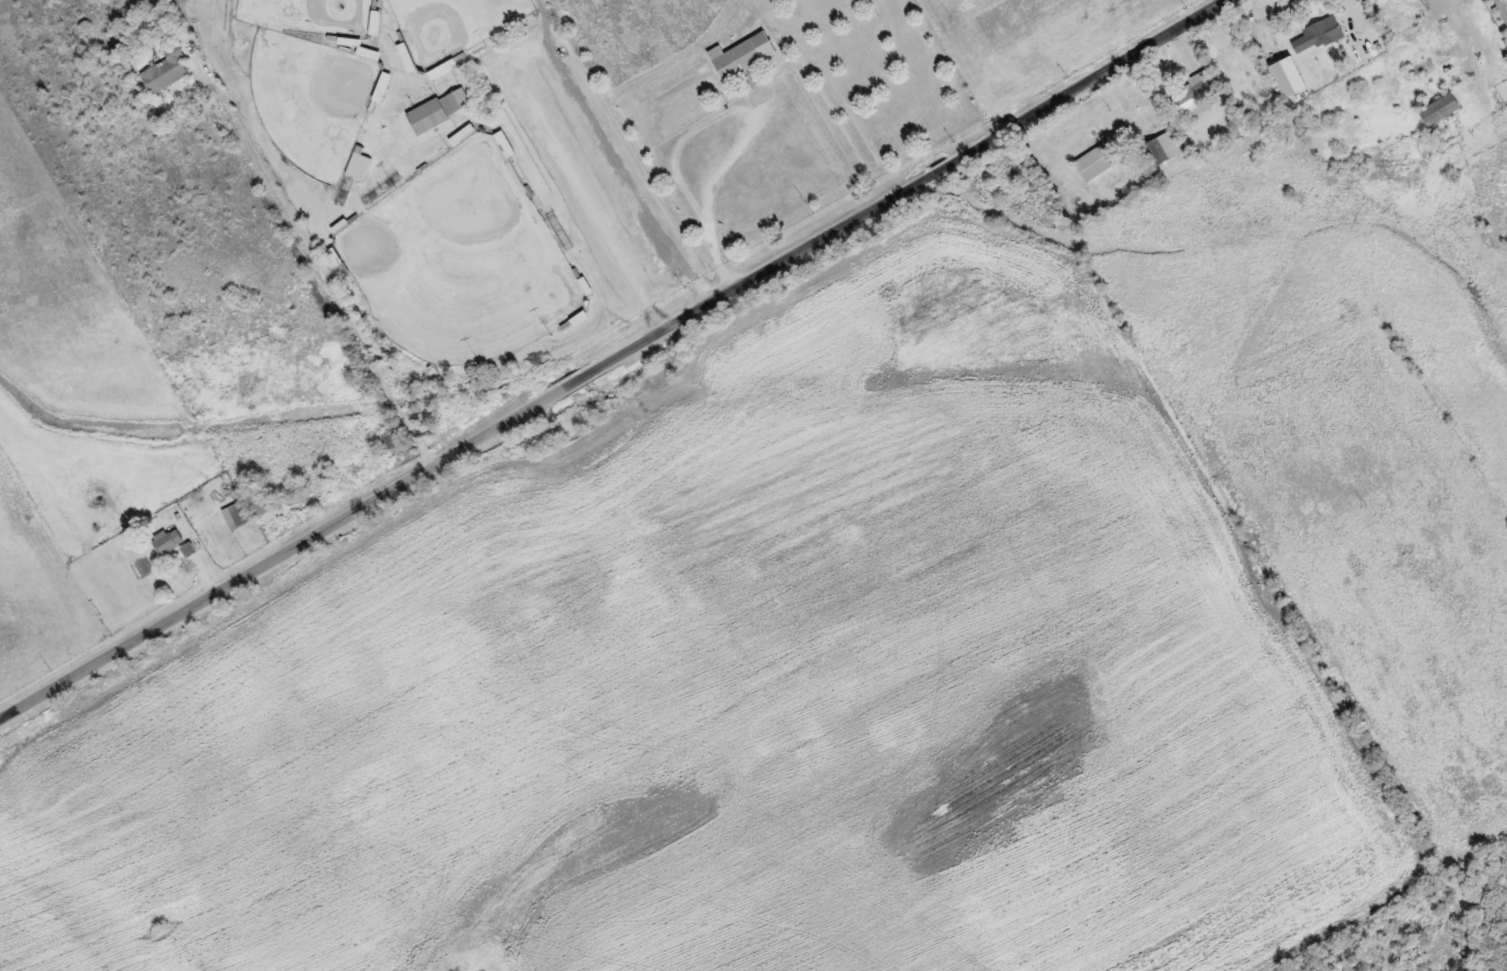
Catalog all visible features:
building: (376, 21)
building: (1318, 34)
building: (742, 54)
building: (165, 70)
road: (894, 79)
building: (1195, 91)
building: (1439, 108)
building: (439, 109)
building: (464, 133)
building: (505, 143)
building: (1161, 147)
building: (1091, 156)
road: (608, 348)
building: (237, 513)
building: (169, 538)
road: (25, 653)

